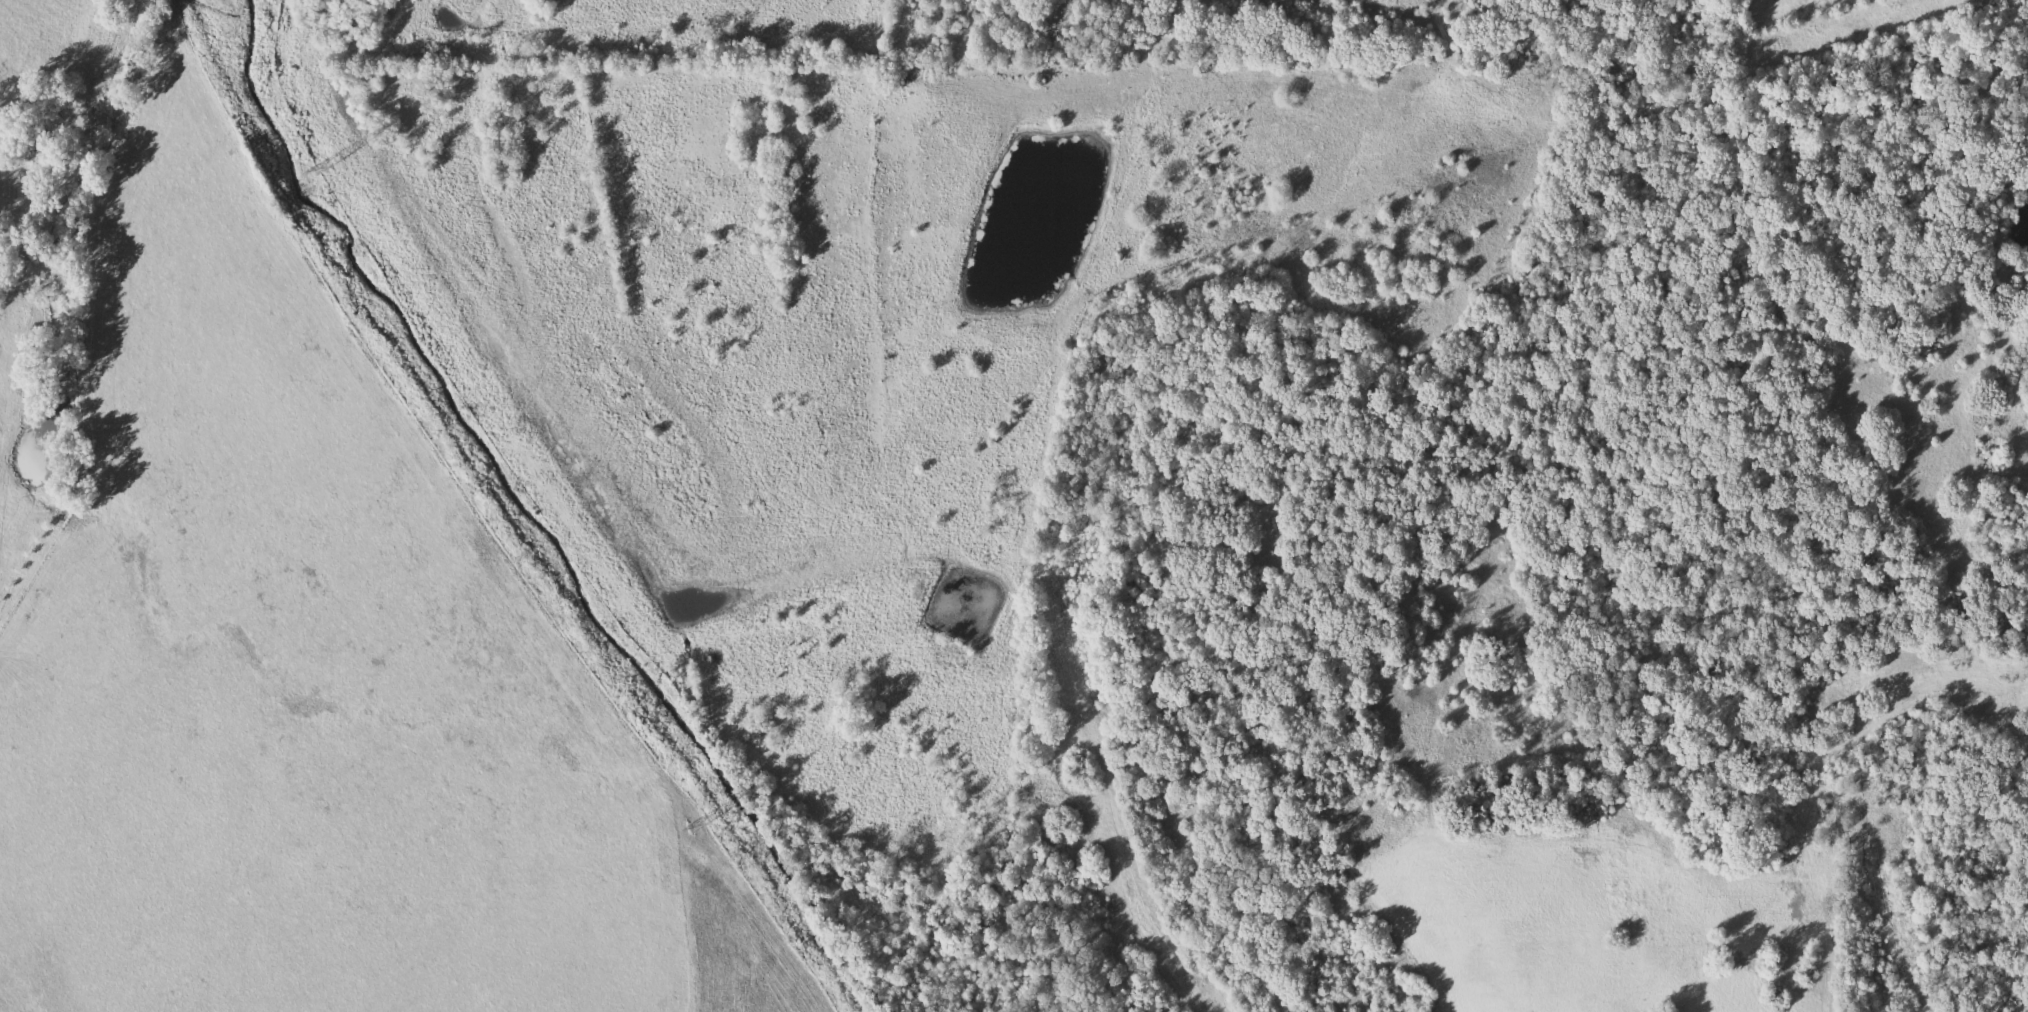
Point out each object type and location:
power tower: (326, 169)
power tower: (701, 824)

